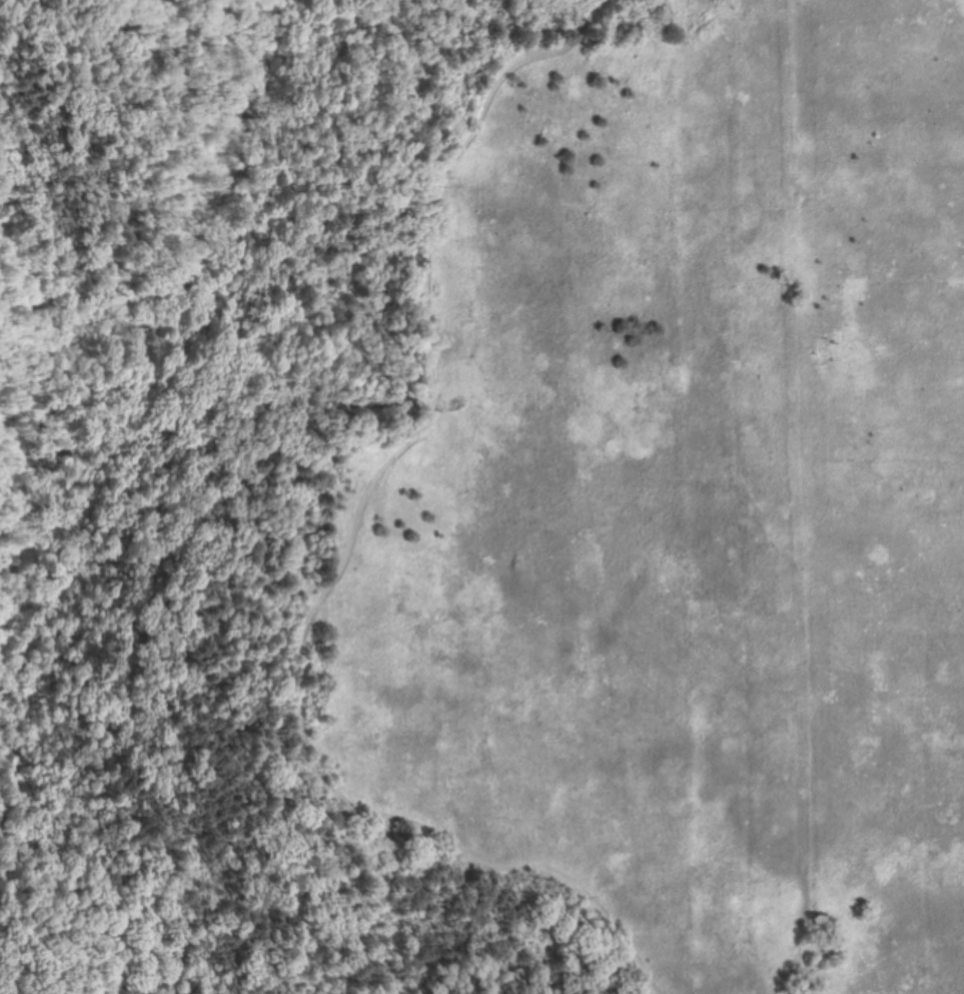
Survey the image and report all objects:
road: (146, 12)
road: (20, 433)
park: (482, 497)
road: (349, 554)
road: (146, 615)

